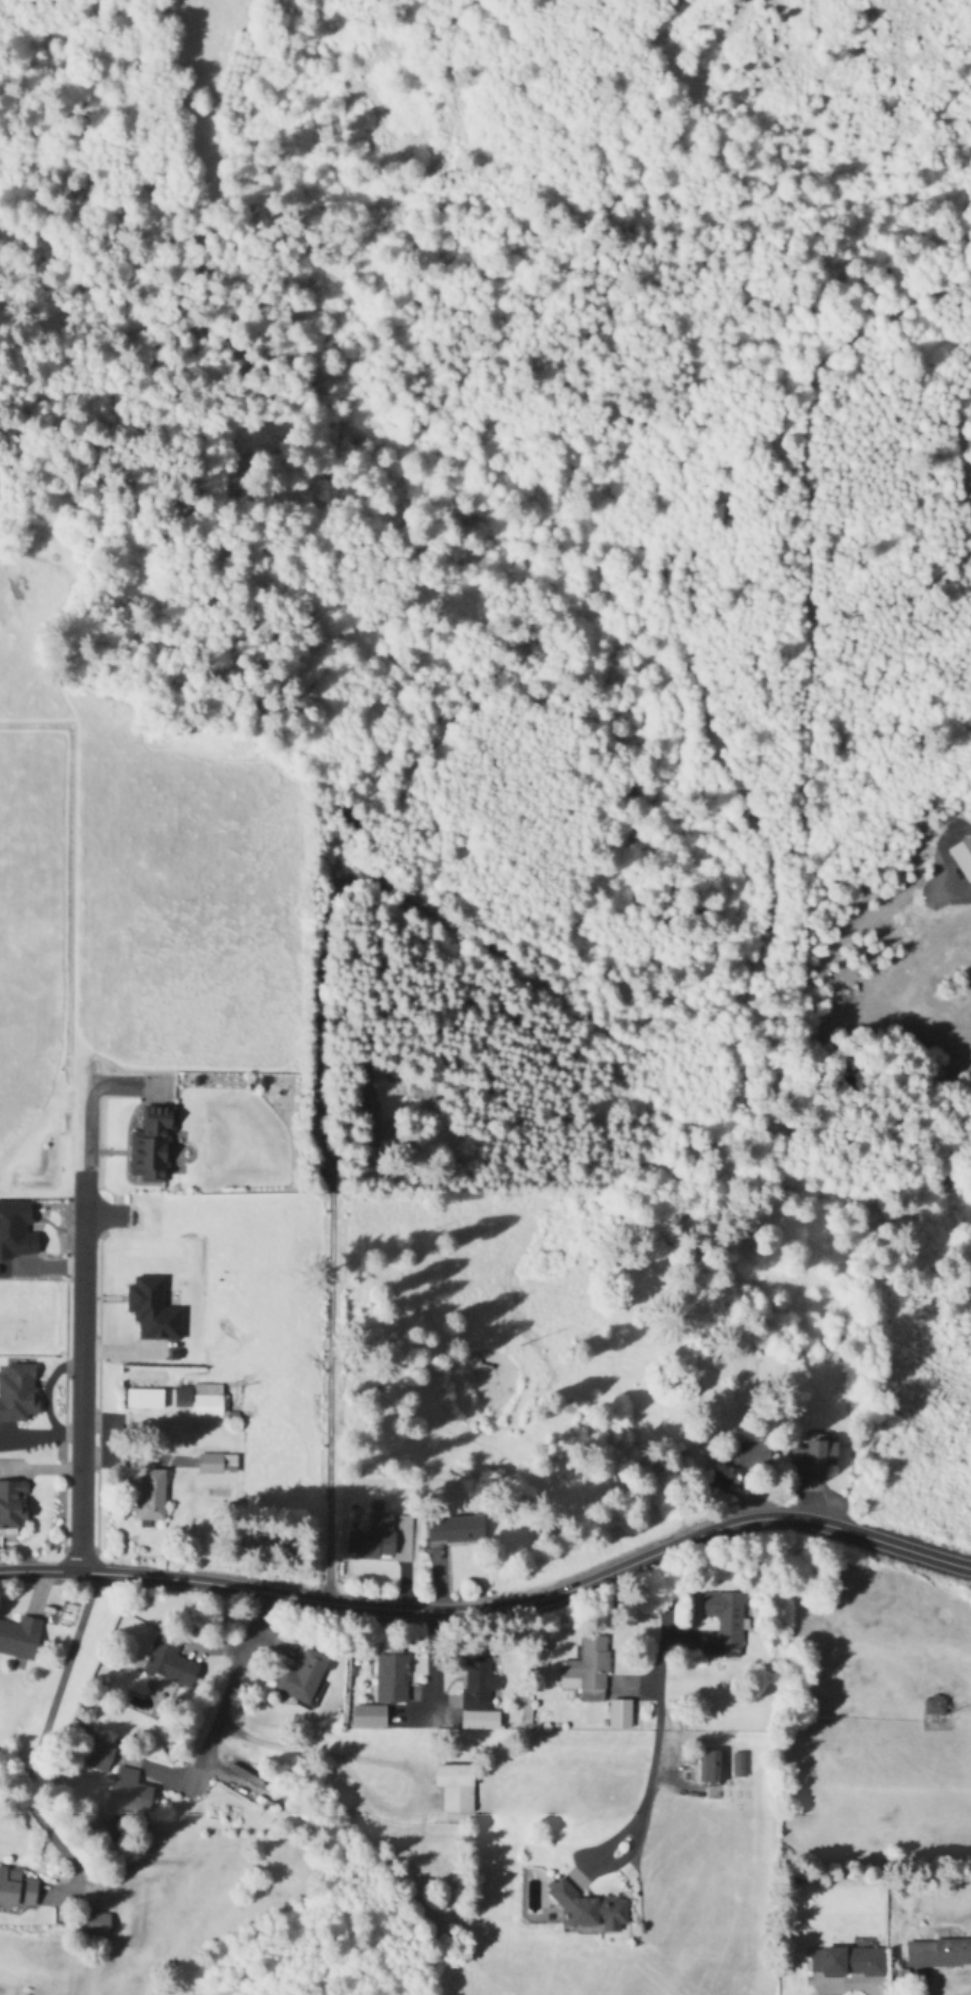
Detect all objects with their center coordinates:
building: (818, 610)
building: (363, 1076)
building: (367, 1105)
building: (377, 1132)
building: (151, 1145)
building: (153, 1310)
road: (82, 1371)
road: (331, 1376)
building: (18, 1392)
building: (150, 1398)
building: (200, 1399)
building: (754, 1456)
building: (815, 1459)
building: (216, 1463)
building: (151, 1494)
building: (12, 1504)
building: (455, 1530)
building: (374, 1538)
road: (495, 1608)
building: (726, 1617)
building: (20, 1637)
building: (170, 1659)
road: (660, 1661)
building: (587, 1671)
building: (303, 1677)
building: (391, 1678)
road: (229, 1680)
building: (478, 1684)
building: (934, 1707)
building: (619, 1715)
building: (369, 1716)
road: (38, 1737)
road: (302, 1749)
building: (100, 1752)
building: (739, 1766)
building: (711, 1767)
building: (456, 1789)
building: (131, 1793)
road: (627, 1818)
building: (17, 1890)
building: (591, 1909)
building: (98, 1925)
building: (938, 1954)
building: (847, 1962)

